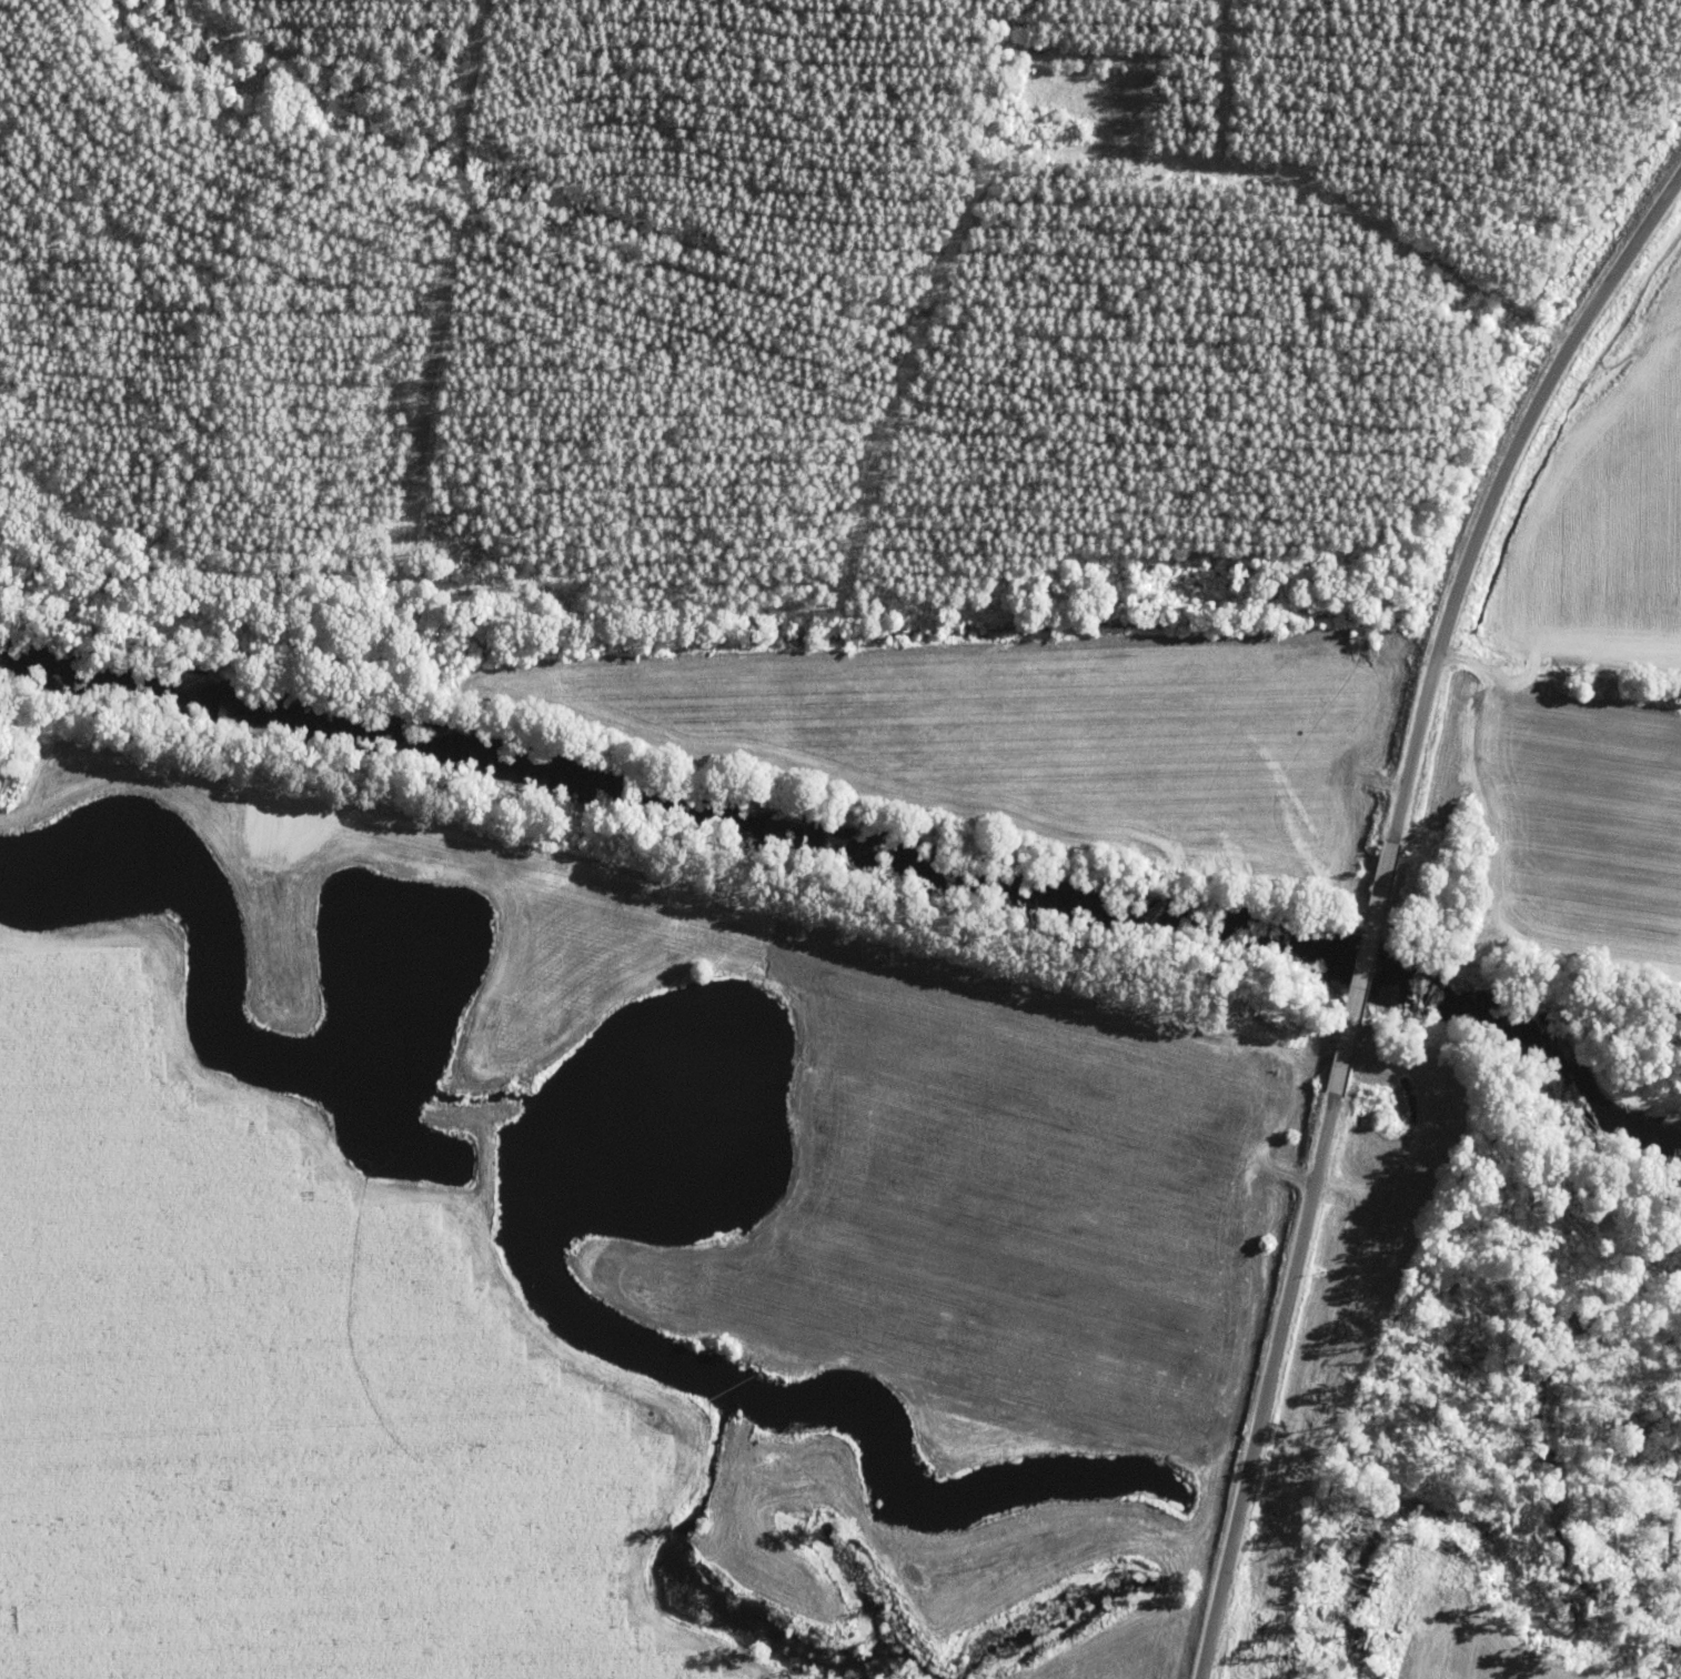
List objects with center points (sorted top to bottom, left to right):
road: (1389, 901)

